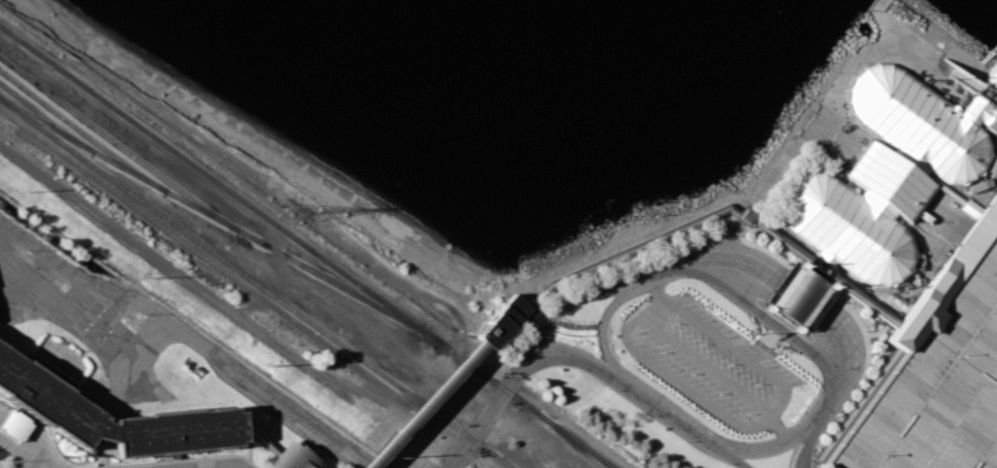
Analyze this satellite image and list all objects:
pier: (993, 80)
railway: (46, 118)
railway: (82, 131)
railway: (118, 144)
road: (271, 183)
railway: (269, 217)
railway: (221, 219)
railway: (257, 282)
road: (603, 333)
road: (847, 355)
building: (937, 385)
parking garage: (937, 385)
building: (47, 399)
road: (430, 406)
road: (488, 415)
building: (15, 425)
railway: (570, 438)
railway: (577, 439)
road: (807, 445)
road: (21, 454)
road: (730, 455)
building: (292, 458)
road: (31, 464)
road: (230, 467)

